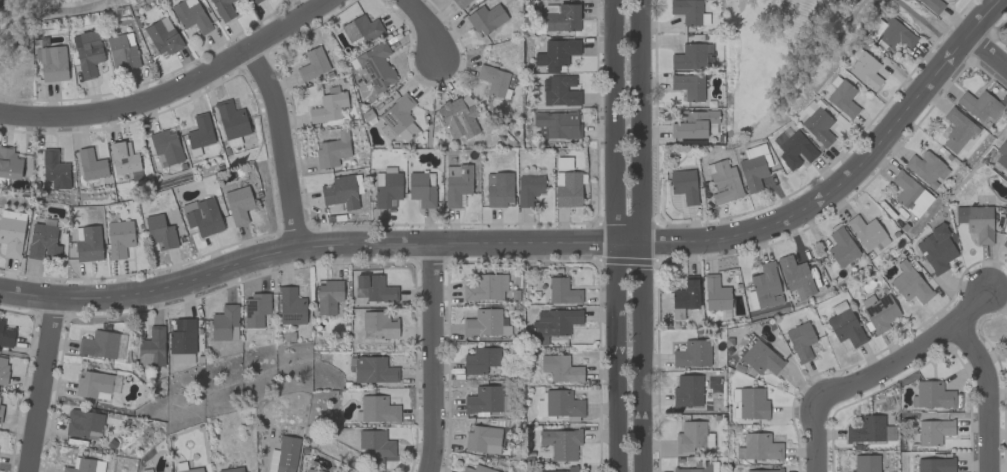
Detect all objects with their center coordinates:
building: (254, 1)
building: (461, 3)
building: (932, 5)
building: (223, 9)
building: (687, 11)
road: (47, 14)
building: (190, 15)
building: (561, 17)
building: (486, 18)
road: (427, 28)
building: (361, 29)
building: (891, 34)
park: (31, 36)
building: (162, 37)
building: (122, 51)
road: (987, 51)
building: (87, 52)
park: (796, 53)
building: (555, 54)
building: (692, 57)
building: (53, 63)
building: (313, 64)
building: (865, 70)
building: (493, 80)
building: (688, 86)
road: (172, 91)
building: (559, 91)
building: (843, 98)
building: (979, 105)
building: (328, 106)
building: (458, 118)
building: (231, 119)
building: (398, 119)
building: (694, 123)
building: (557, 125)
building: (818, 126)
building: (200, 131)
building: (956, 131)
road: (280, 144)
building: (166, 145)
building: (793, 148)
building: (332, 150)
building: (754, 150)
building: (1002, 154)
building: (123, 157)
building: (9, 163)
building: (91, 164)
building: (926, 168)
building: (55, 169)
building: (752, 173)
building: (723, 182)
building: (456, 184)
building: (684, 185)
building: (422, 188)
building: (387, 189)
building: (499, 189)
building: (529, 189)
building: (567, 189)
building: (341, 192)
building: (910, 194)
building: (238, 204)
building: (202, 216)
building: (976, 222)
building: (160, 231)
building: (11, 232)
building: (867, 233)
road: (613, 235)
road: (641, 235)
building: (119, 238)
building: (43, 242)
road: (544, 242)
building: (87, 243)
building: (1006, 244)
building: (841, 247)
building: (936, 249)
building: (796, 276)
building: (909, 283)
building: (766, 286)
building: (485, 287)
building: (374, 288)
building: (562, 291)
building: (715, 293)
building: (686, 294)
building: (328, 296)
building: (291, 306)
building: (255, 309)
building: (879, 312)
building: (225, 323)
building: (485, 323)
building: (553, 324)
building: (844, 324)
building: (378, 325)
building: (6, 334)
building: (182, 341)
building: (800, 341)
building: (102, 345)
building: (152, 347)
building: (692, 354)
road: (910, 355)
building: (759, 357)
road: (432, 358)
building: (480, 360)
building: (560, 368)
building: (3, 369)
building: (373, 370)
building: (94, 384)
road: (42, 385)
building: (687, 391)
building: (932, 395)
road: (988, 395)
building: (483, 400)
building: (752, 403)
building: (558, 404)
building: (376, 410)
building: (0, 412)
building: (82, 422)
building: (865, 430)
building: (934, 431)
road: (820, 436)
building: (692, 437)
building: (482, 439)
building: (376, 442)
building: (561, 443)
building: (758, 447)
building: (286, 454)
building: (865, 463)
building: (85, 465)
building: (935, 465)
building: (695, 467)
building: (571, 468)
building: (232, 469)
building: (477, 469)
building: (191, 470)
building: (314, 470)
building: (764, 470)

